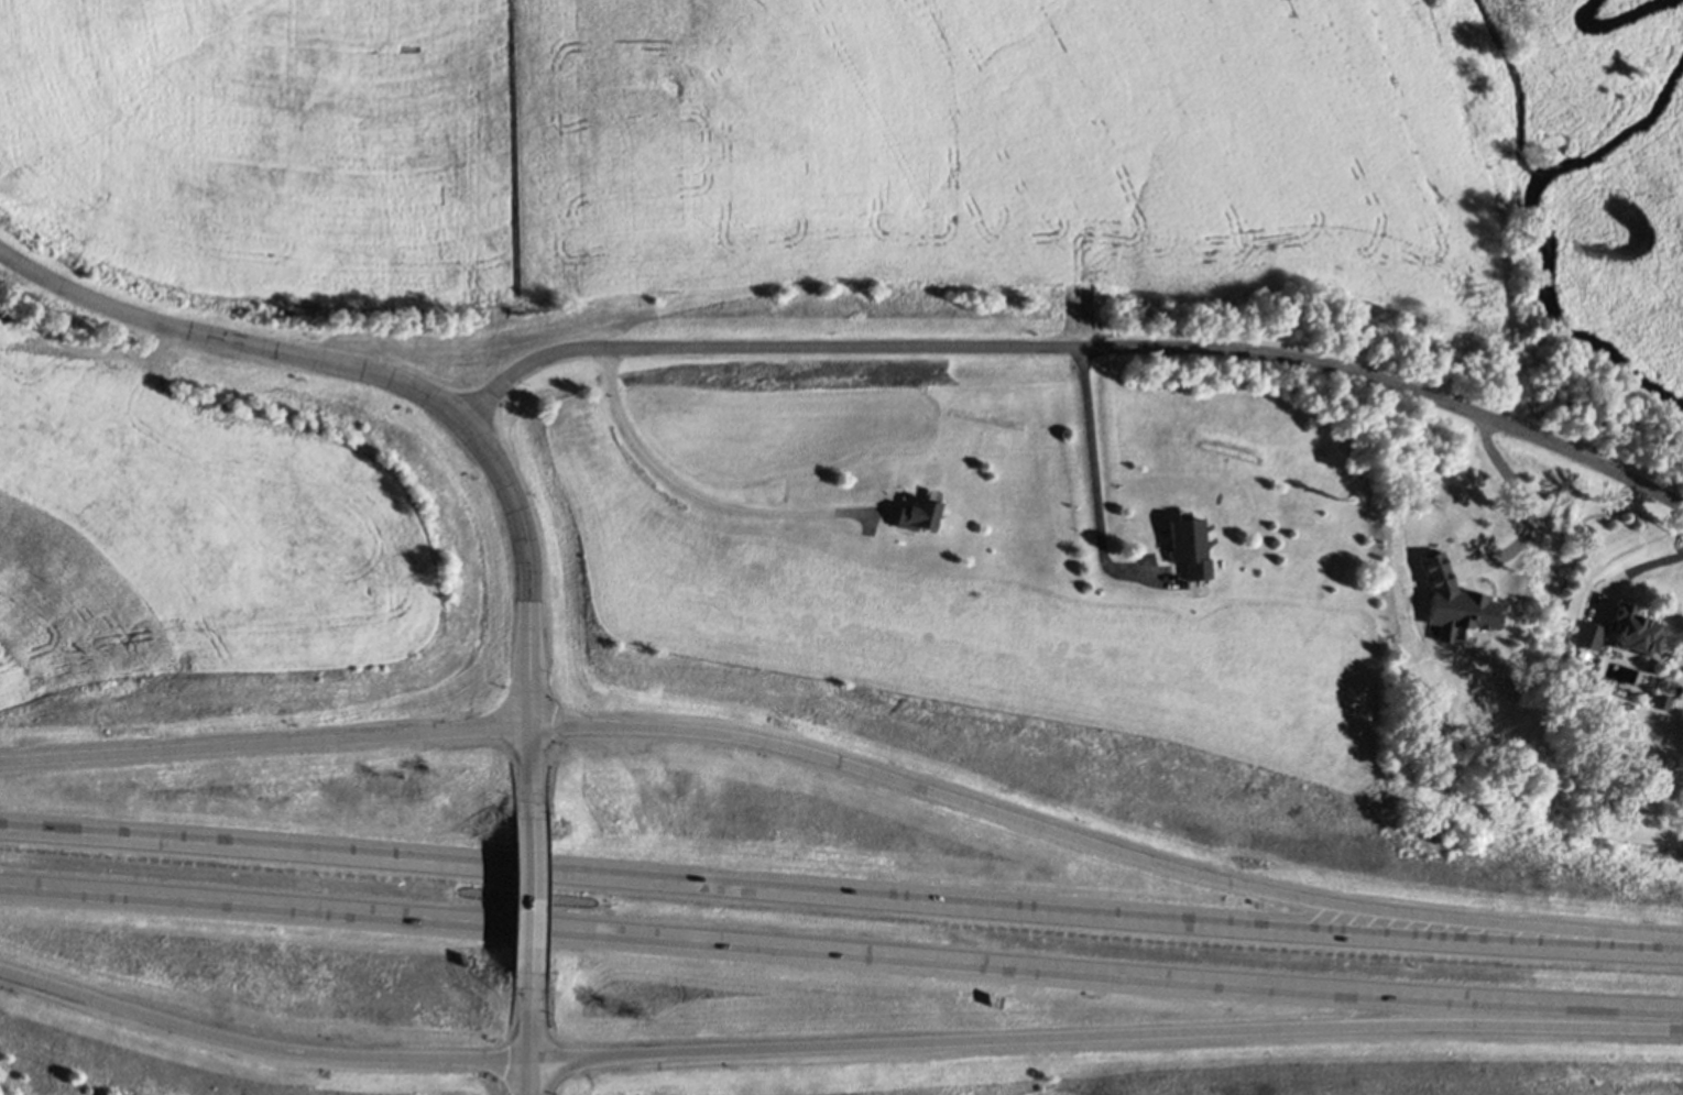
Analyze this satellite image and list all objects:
crop: (773, 153)
road: (1074, 348)
road: (389, 379)
road: (1091, 467)
road: (690, 490)
road: (1522, 507)
building: (915, 514)
crop: (195, 527)
building: (1190, 546)
road: (1631, 567)
building: (1632, 628)
building: (1589, 635)
road: (267, 746)
road: (535, 773)
road: (1105, 847)
road: (841, 896)
road: (535, 904)
road: (841, 951)
road: (1107, 1037)
road: (534, 1042)
road: (262, 1047)

